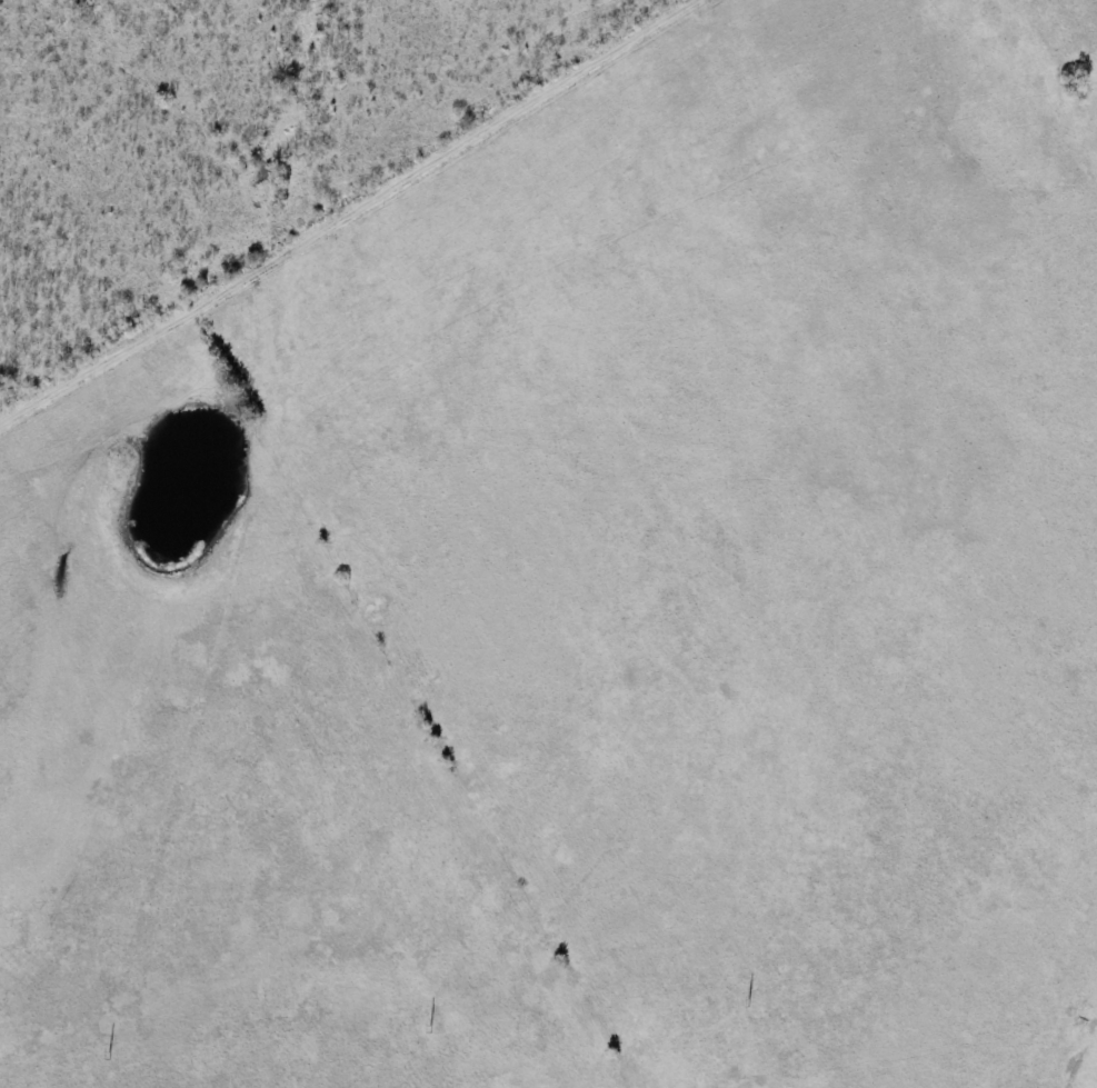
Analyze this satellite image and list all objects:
power tower: (749, 1000)
power tower: (430, 1027)
power tower: (109, 1055)

